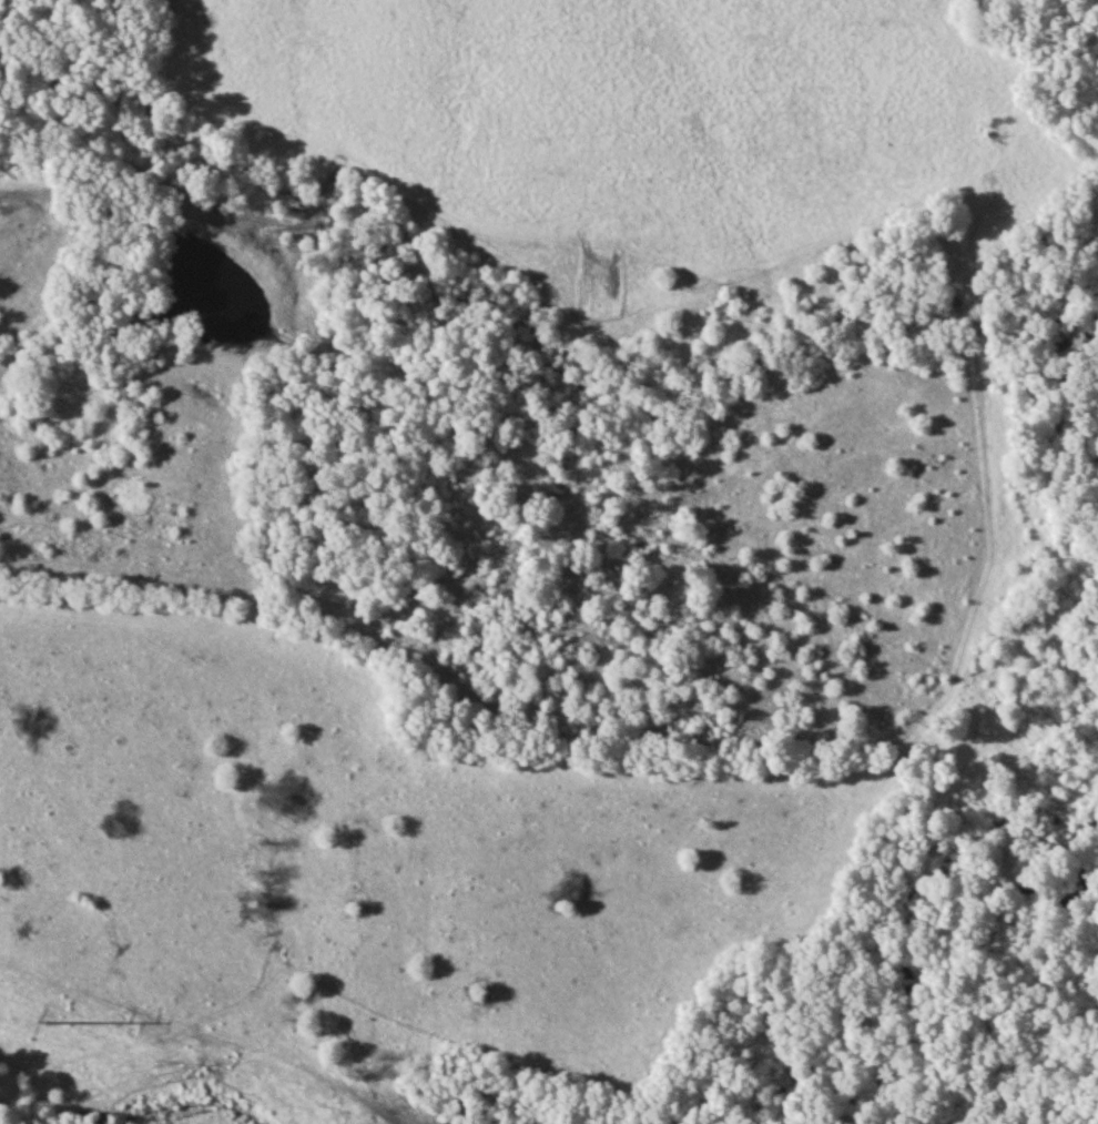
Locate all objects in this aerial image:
power tower: (54, 1027)

